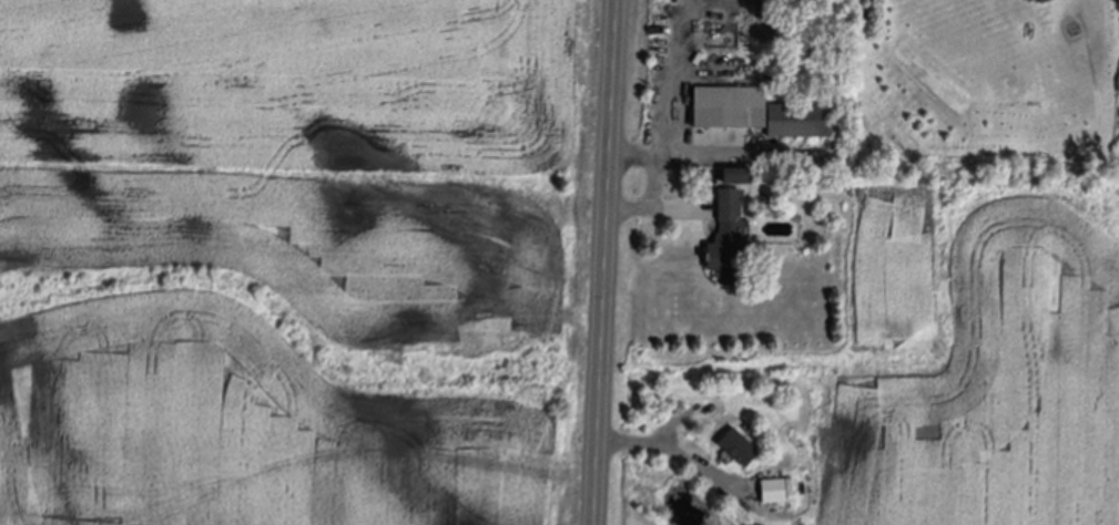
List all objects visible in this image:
building: (1028, 0)
building: (1041, 1)
building: (730, 106)
building: (798, 119)
road: (720, 155)
building: (737, 174)
road: (651, 181)
road: (679, 210)
building: (730, 240)
road: (604, 261)
building: (739, 446)
road: (670, 447)
building: (774, 487)

